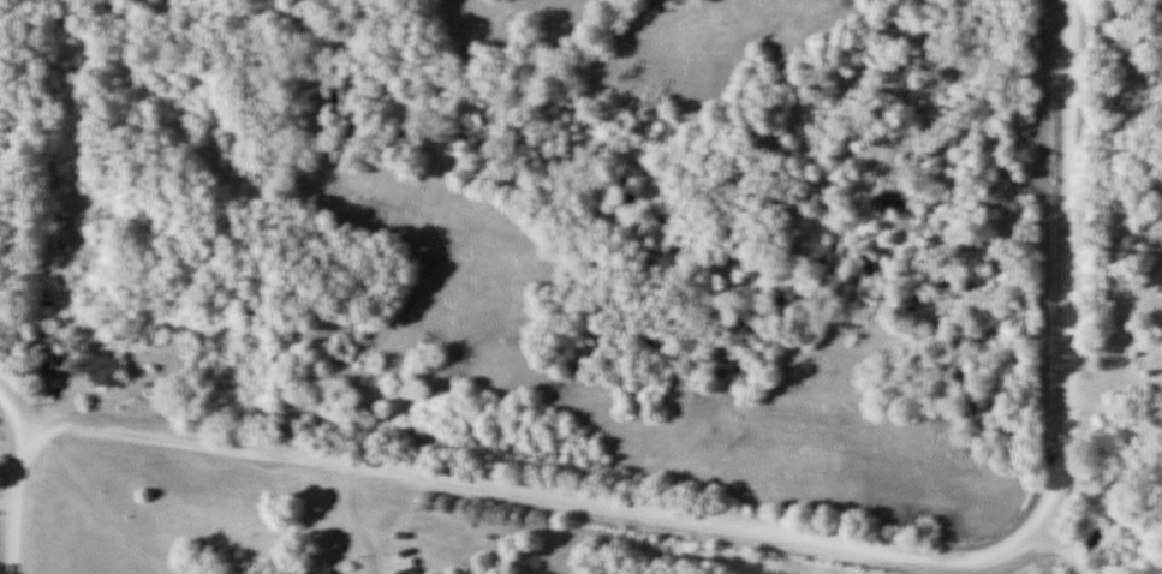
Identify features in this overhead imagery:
road: (1143, 287)
road: (1145, 304)
building: (47, 347)
road: (1104, 361)
building: (113, 367)
road: (10, 405)
road: (16, 498)
road: (7, 502)
road: (95, 510)
road: (354, 518)
road: (794, 534)
road: (1061, 549)
building: (411, 570)
building: (332, 572)

